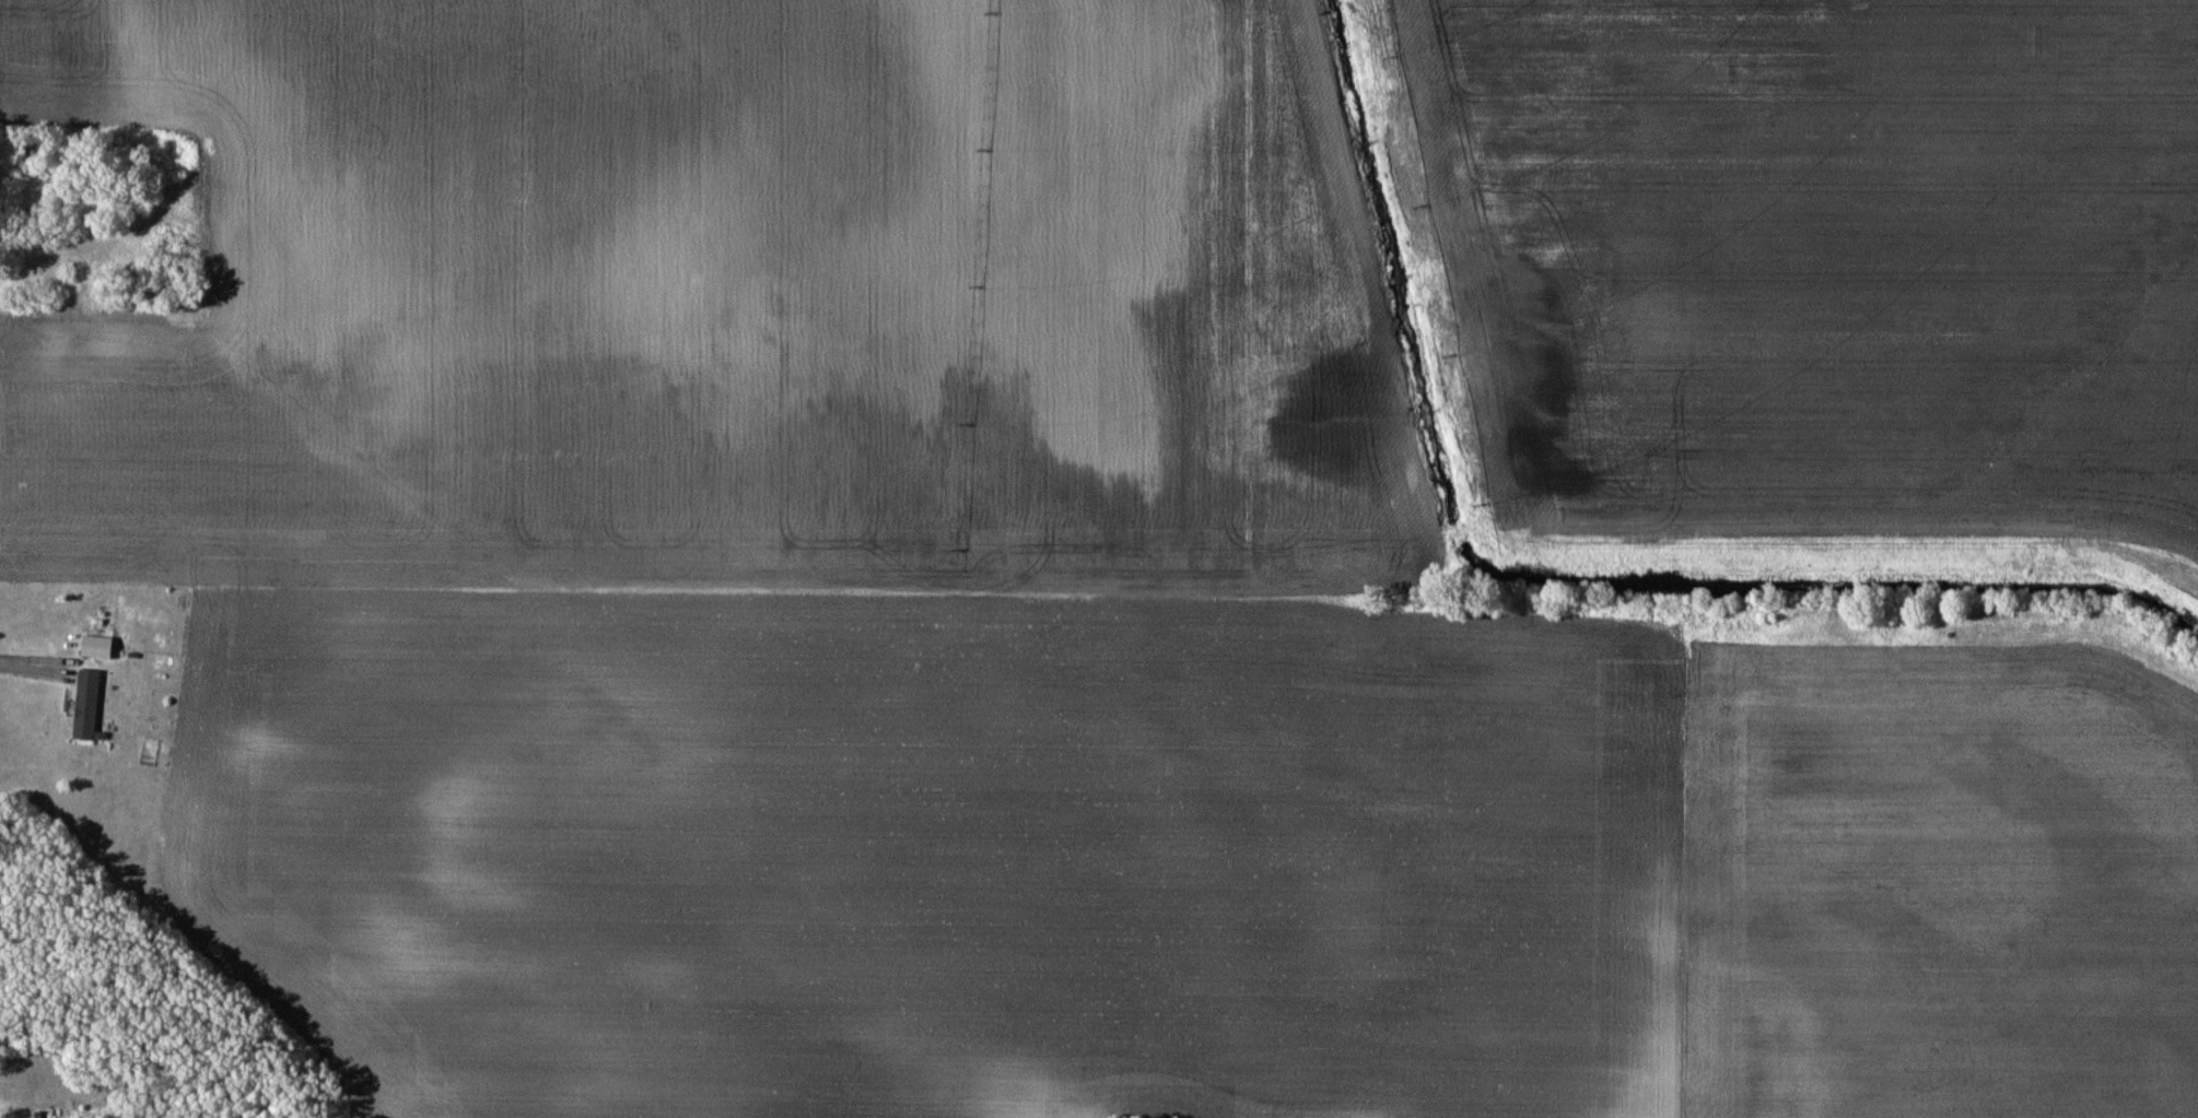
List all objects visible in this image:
road: (37, 669)
building: (86, 704)

